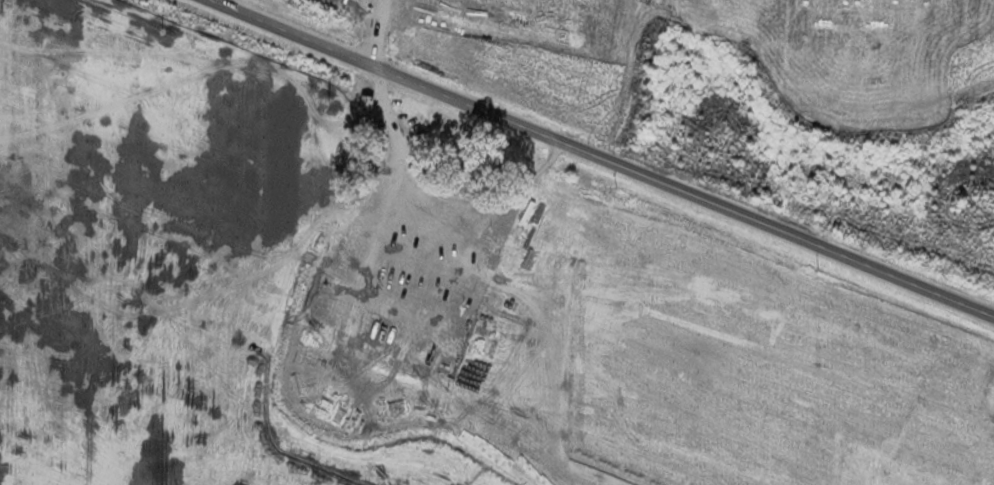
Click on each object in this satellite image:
road: (377, 33)
solar farm: (735, 52)
building: (370, 100)
road: (602, 158)
building: (412, 205)
solar farm: (415, 296)

